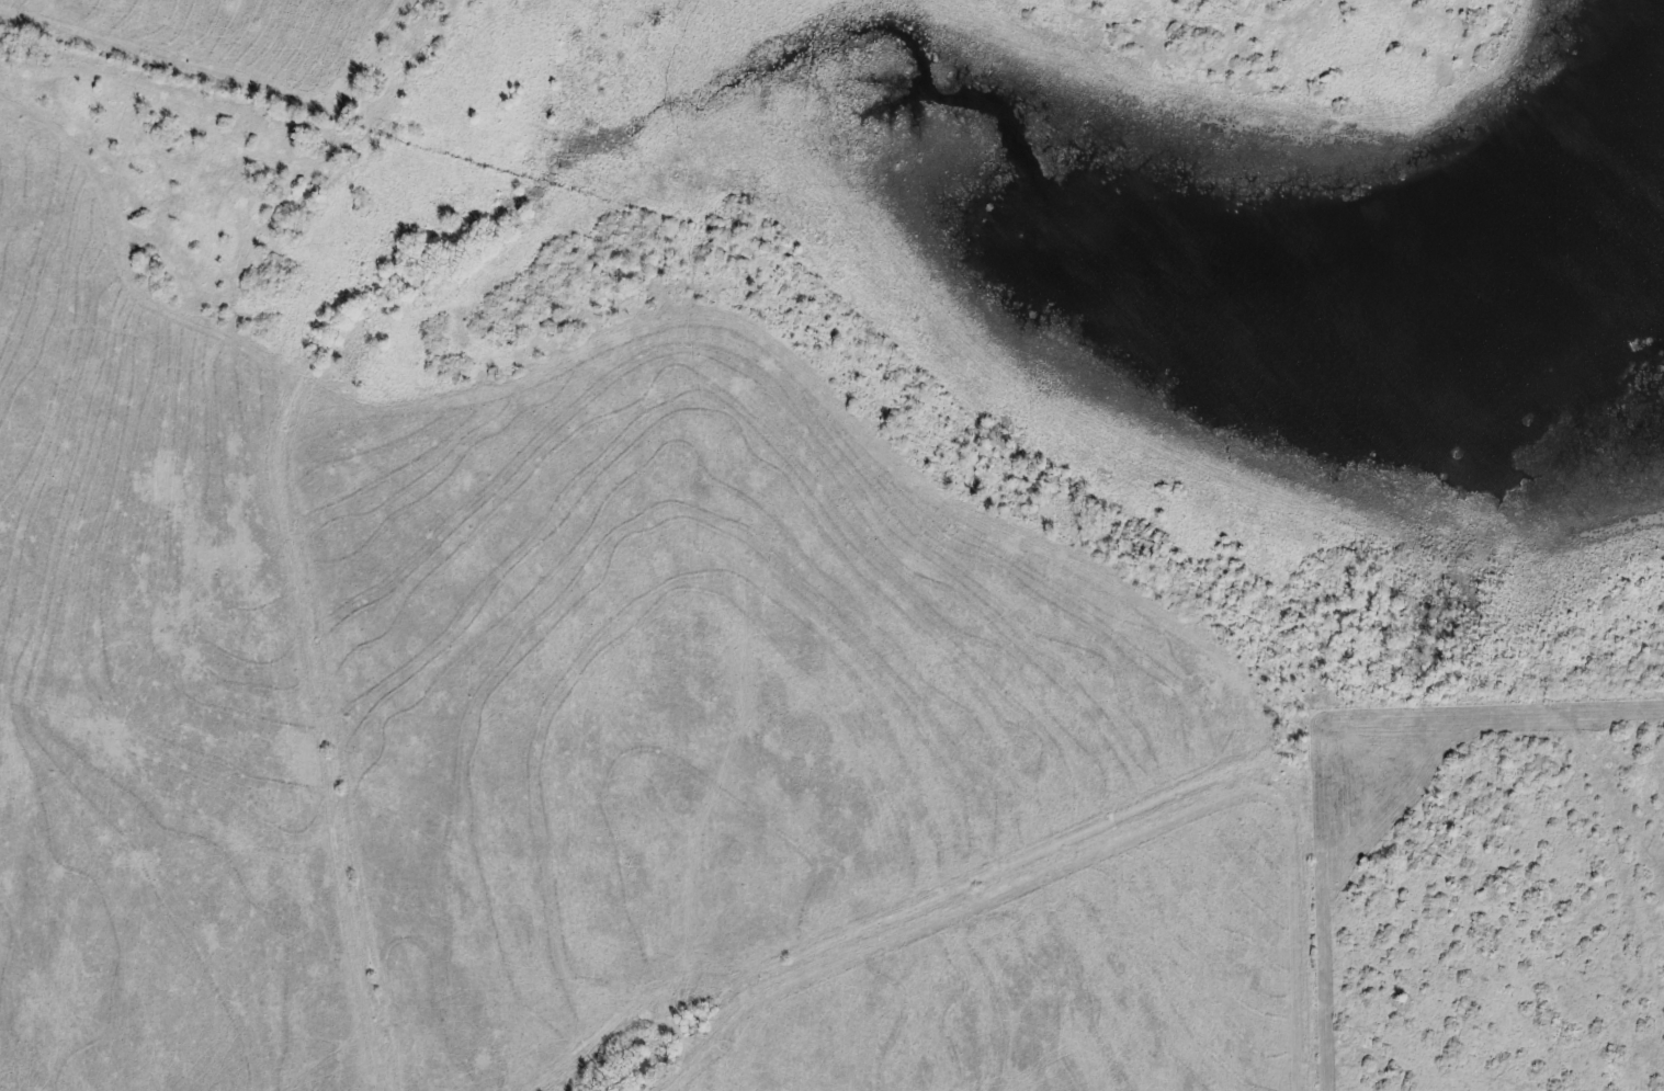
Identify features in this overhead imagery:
road: (1654, 796)
road: (733, 1076)

